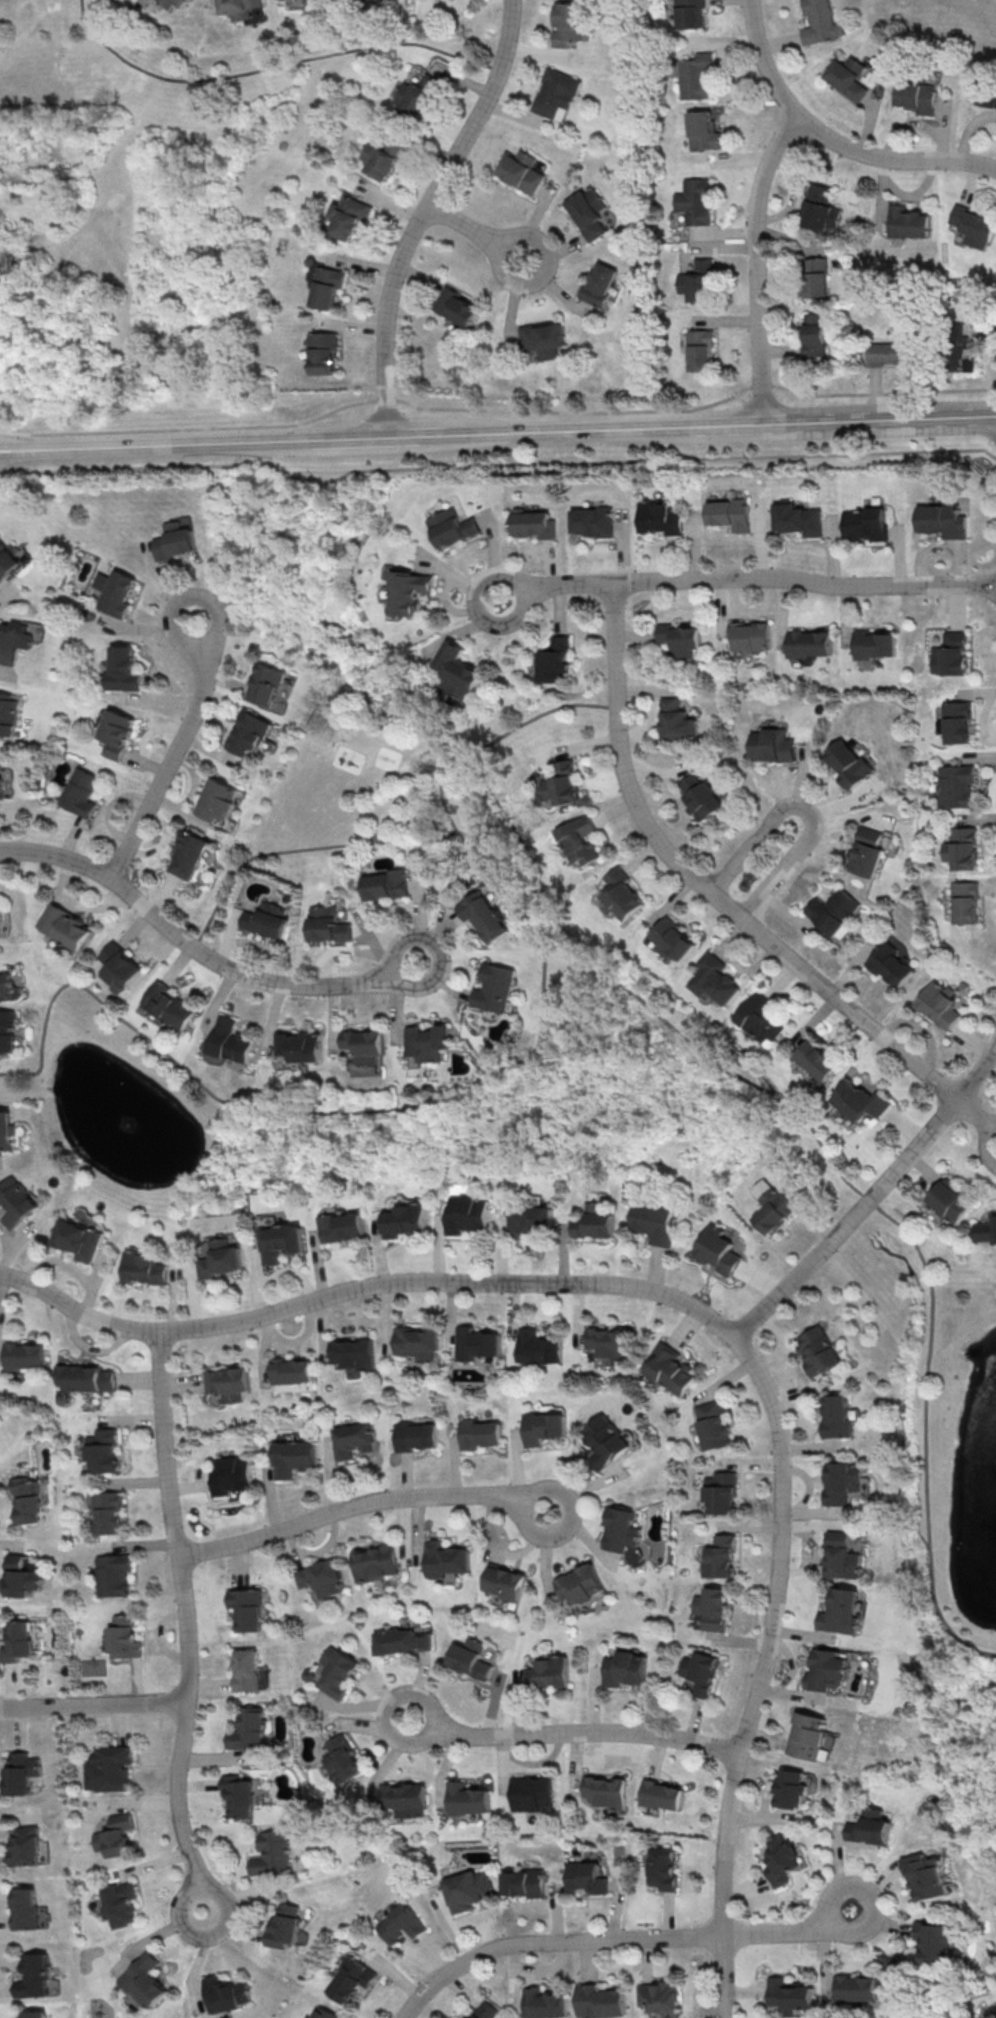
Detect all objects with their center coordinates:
building: (294, 0)
building: (183, 5)
building: (241, 5)
building: (690, 14)
building: (821, 22)
building: (566, 25)
road: (763, 61)
road: (272, 68)
building: (693, 77)
building: (849, 77)
building: (555, 94)
building: (987, 94)
building: (417, 95)
building: (917, 97)
building: (701, 132)
building: (383, 158)
road: (891, 158)
building: (519, 173)
building: (695, 200)
building: (821, 208)
road: (421, 211)
building: (588, 212)
building: (350, 216)
building: (909, 222)
road: (459, 223)
building: (975, 226)
road: (757, 266)
building: (817, 277)
road: (513, 280)
building: (697, 281)
building: (599, 283)
building: (329, 288)
building: (455, 306)
building: (816, 334)
building: (542, 338)
building: (702, 349)
building: (958, 349)
building: (325, 353)
building: (888, 354)
road: (760, 384)
road: (882, 391)
road: (384, 399)
road: (574, 411)
road: (189, 427)
road: (632, 429)
road: (227, 442)
road: (93, 447)
road: (497, 467)
building: (729, 513)
building: (659, 517)
building: (799, 519)
building: (941, 519)
building: (592, 521)
building: (532, 522)
building: (866, 522)
building: (450, 524)
building: (173, 541)
building: (8, 561)
road: (804, 582)
road: (555, 586)
building: (113, 590)
building: (409, 591)
road: (184, 598)
building: (753, 636)
building: (684, 637)
building: (14, 640)
building: (812, 643)
building: (876, 644)
building: (951, 656)
building: (555, 661)
building: (460, 668)
building: (121, 669)
building: (267, 683)
building: (8, 713)
road: (543, 714)
building: (675, 721)
building: (958, 725)
building: (114, 732)
building: (251, 733)
building: (774, 744)
road: (465, 756)
building: (849, 764)
road: (167, 765)
road: (448, 767)
building: (1, 784)
building: (565, 784)
building: (956, 784)
building: (79, 792)
building: (702, 796)
building: (216, 799)
road: (808, 808)
building: (581, 840)
road: (410, 841)
road: (467, 845)
building: (965, 848)
road: (300, 849)
building: (869, 851)
building: (188, 852)
road: (704, 884)
building: (384, 886)
building: (623, 891)
building: (967, 900)
building: (835, 909)
building: (484, 914)
building: (2, 921)
building: (265, 921)
building: (326, 924)
building: (64, 925)
building: (678, 938)
road: (185, 943)
road: (437, 951)
building: (118, 964)
building: (889, 964)
building: (717, 977)
building: (4, 981)
building: (492, 985)
road: (562, 986)
building: (942, 1003)
building: (167, 1004)
building: (762, 1018)
building: (8, 1031)
building: (231, 1040)
building: (363, 1043)
building: (427, 1044)
building: (298, 1045)
building: (819, 1060)
park: (529, 1064)
road: (771, 1091)
building: (862, 1100)
road: (973, 1111)
road: (275, 1112)
fountain: (126, 1118)
building: (6, 1130)
road: (982, 1142)
road: (871, 1198)
building: (16, 1200)
building: (951, 1201)
building: (775, 1208)
building: (467, 1213)
building: (403, 1220)
building: (527, 1222)
building: (654, 1222)
building: (594, 1223)
building: (342, 1225)
building: (986, 1231)
building: (79, 1240)
building: (282, 1241)
building: (719, 1247)
building: (220, 1258)
building: (144, 1266)
road: (707, 1314)
road: (299, 1337)
building: (609, 1342)
building: (417, 1343)
building: (475, 1343)
building: (538, 1346)
road: (263, 1352)
building: (817, 1352)
building: (352, 1353)
building: (23, 1355)
road: (926, 1364)
building: (670, 1369)
building: (291, 1370)
building: (84, 1377)
building: (229, 1383)
road: (269, 1408)
building: (835, 1414)
road: (277, 1420)
building: (712, 1424)
building: (544, 1427)
building: (479, 1433)
building: (415, 1434)
building: (354, 1439)
building: (605, 1441)
building: (103, 1449)
building: (294, 1457)
building: (232, 1475)
road: (289, 1482)
building: (839, 1482)
road: (270, 1495)
building: (721, 1496)
building: (28, 1499)
road: (361, 1503)
building: (108, 1511)
building: (621, 1529)
building: (720, 1555)
building: (841, 1556)
building: (445, 1558)
building: (376, 1562)
building: (113, 1573)
building: (21, 1575)
building: (323, 1577)
building: (504, 1581)
building: (580, 1584)
building: (248, 1607)
building: (713, 1608)
building: (843, 1608)
road: (186, 1621)
building: (124, 1637)
building: (403, 1640)
building: (17, 1641)
building: (471, 1657)
building: (624, 1668)
building: (247, 1670)
building: (553, 1670)
building: (701, 1670)
building: (829, 1670)
building: (337, 1671)
road: (92, 1703)
building: (248, 1729)
road: (572, 1731)
building: (808, 1735)
building: (343, 1758)
building: (110, 1768)
building: (22, 1773)
building: (606, 1789)
building: (792, 1789)
building: (533, 1792)
building: (238, 1794)
building: (661, 1794)
building: (404, 1798)
building: (467, 1798)
building: (870, 1826)
building: (114, 1834)
building: (25, 1846)
building: (271, 1853)
building: (783, 1858)
building: (664, 1868)
building: (926, 1875)
building: (587, 1876)
building: (524, 1882)
building: (466, 1890)
building: (120, 1903)
building: (25, 1909)
building: (400, 1923)
building: (284, 1926)
road: (616, 1938)
building: (935, 1941)
road: (198, 1961)
building: (34, 1976)
building: (351, 1978)
building: (144, 1979)
building: (856, 1989)
building: (225, 1993)
building: (791, 1994)
building: (661, 1995)
building: (600, 2000)
building: (544, 2003)
building: (484, 2011)
building: (34, 2014)
building: (324, 2014)
building: (995, 2017)

